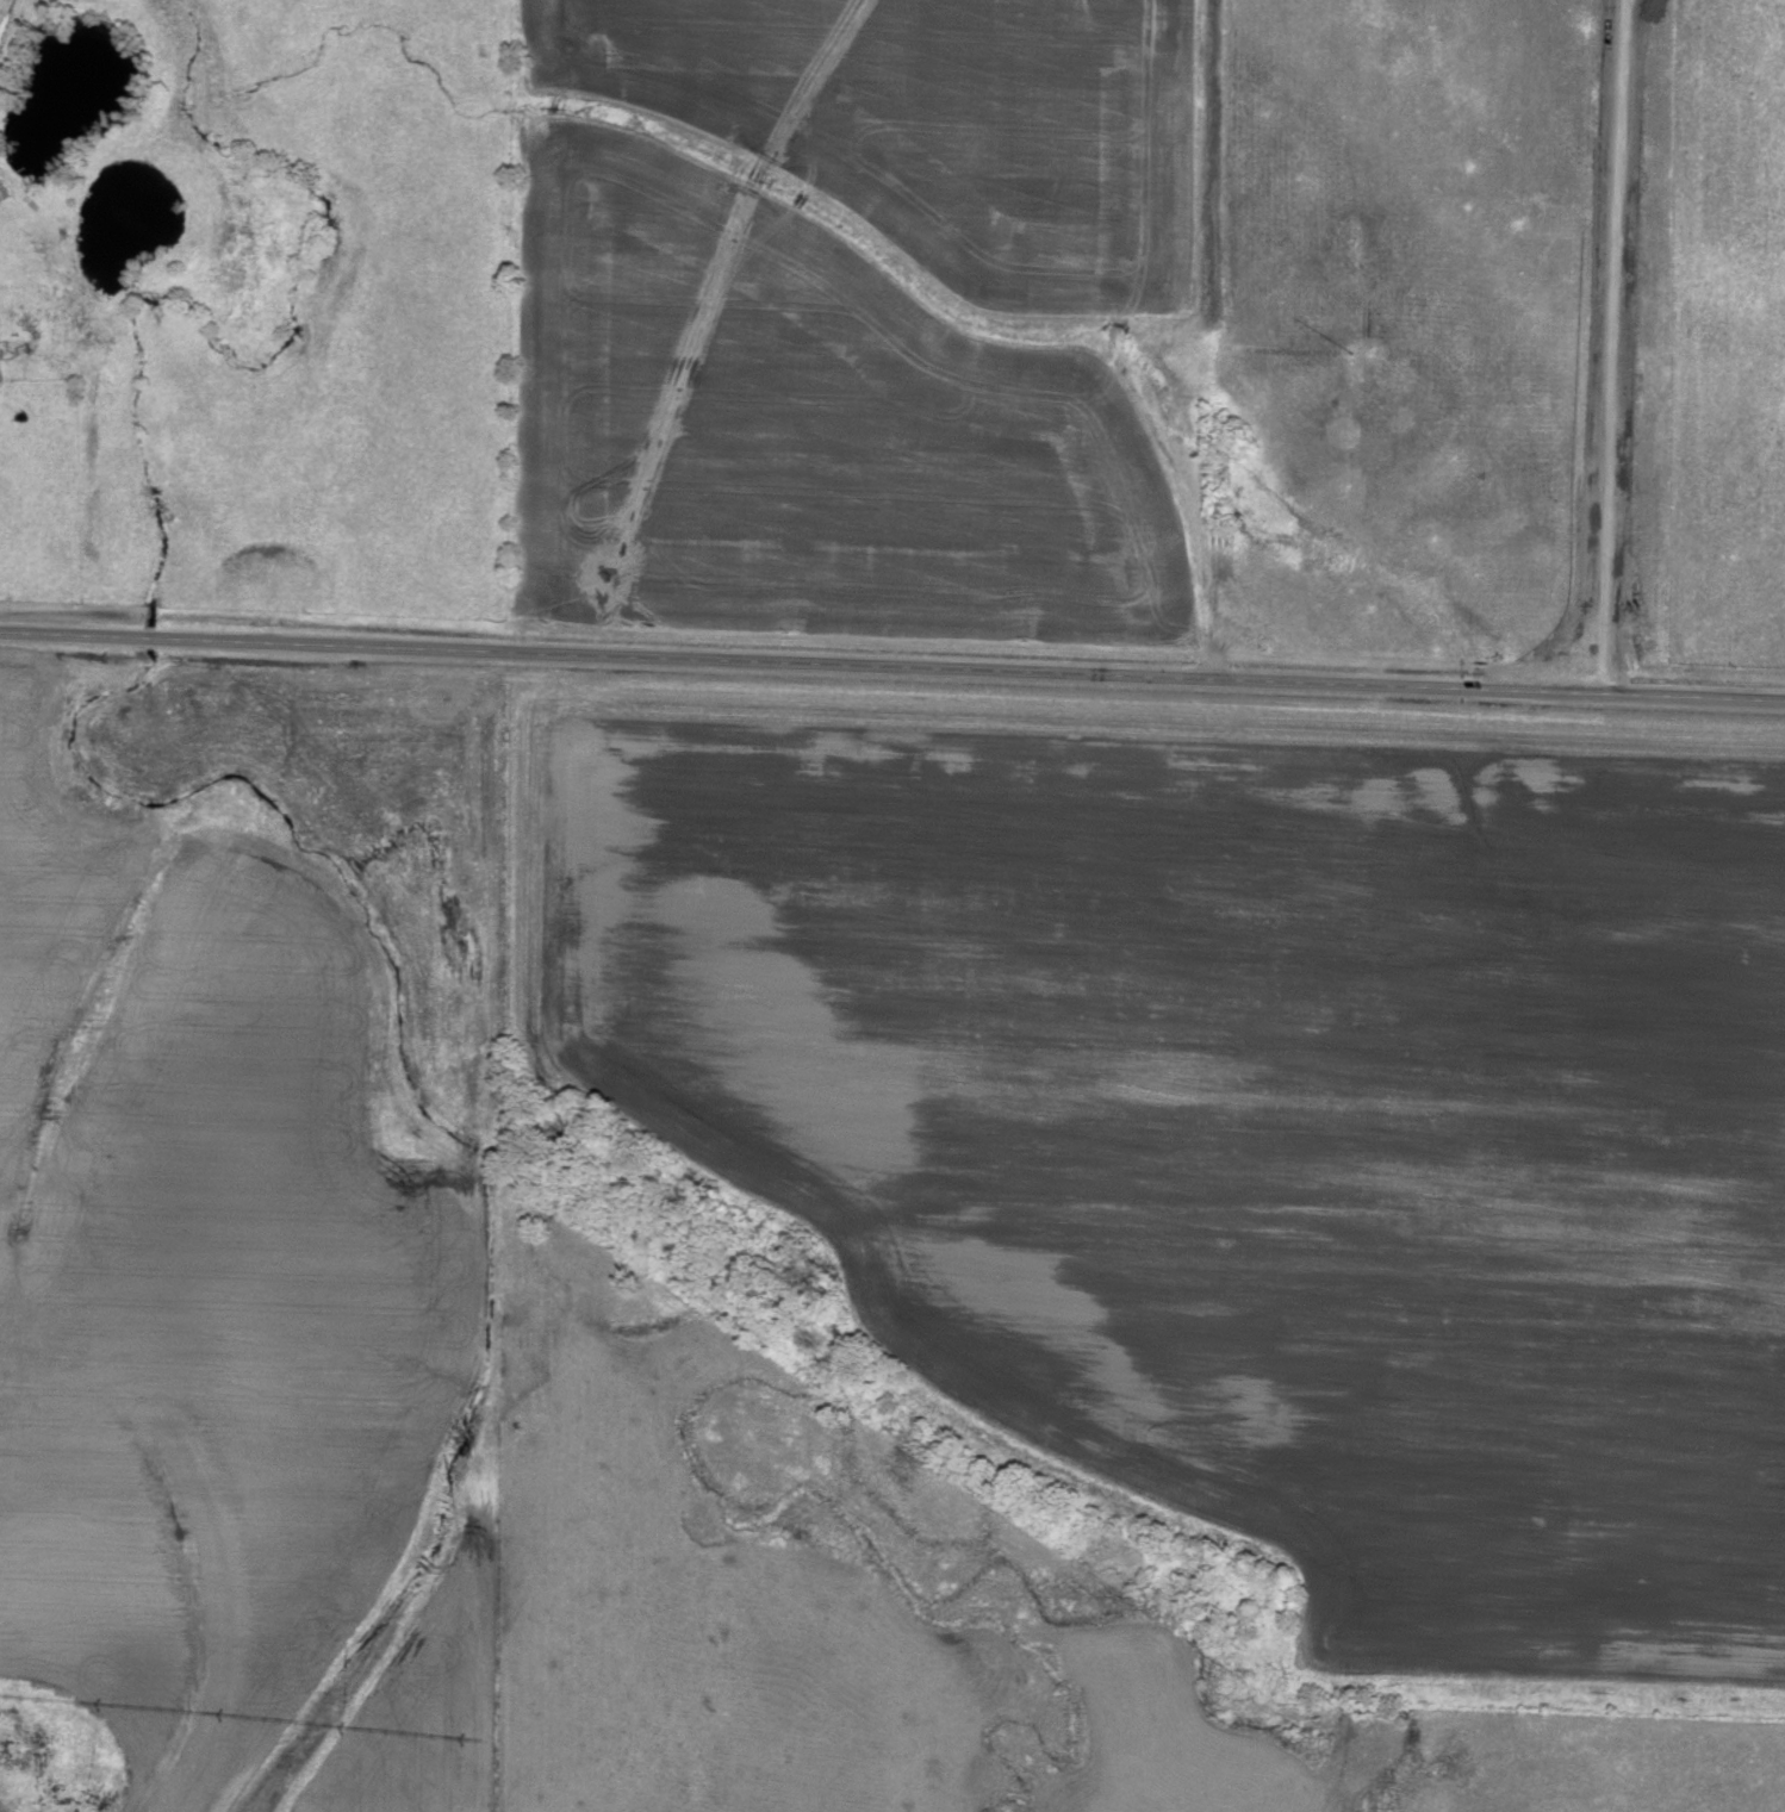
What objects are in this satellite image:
road: (893, 665)

